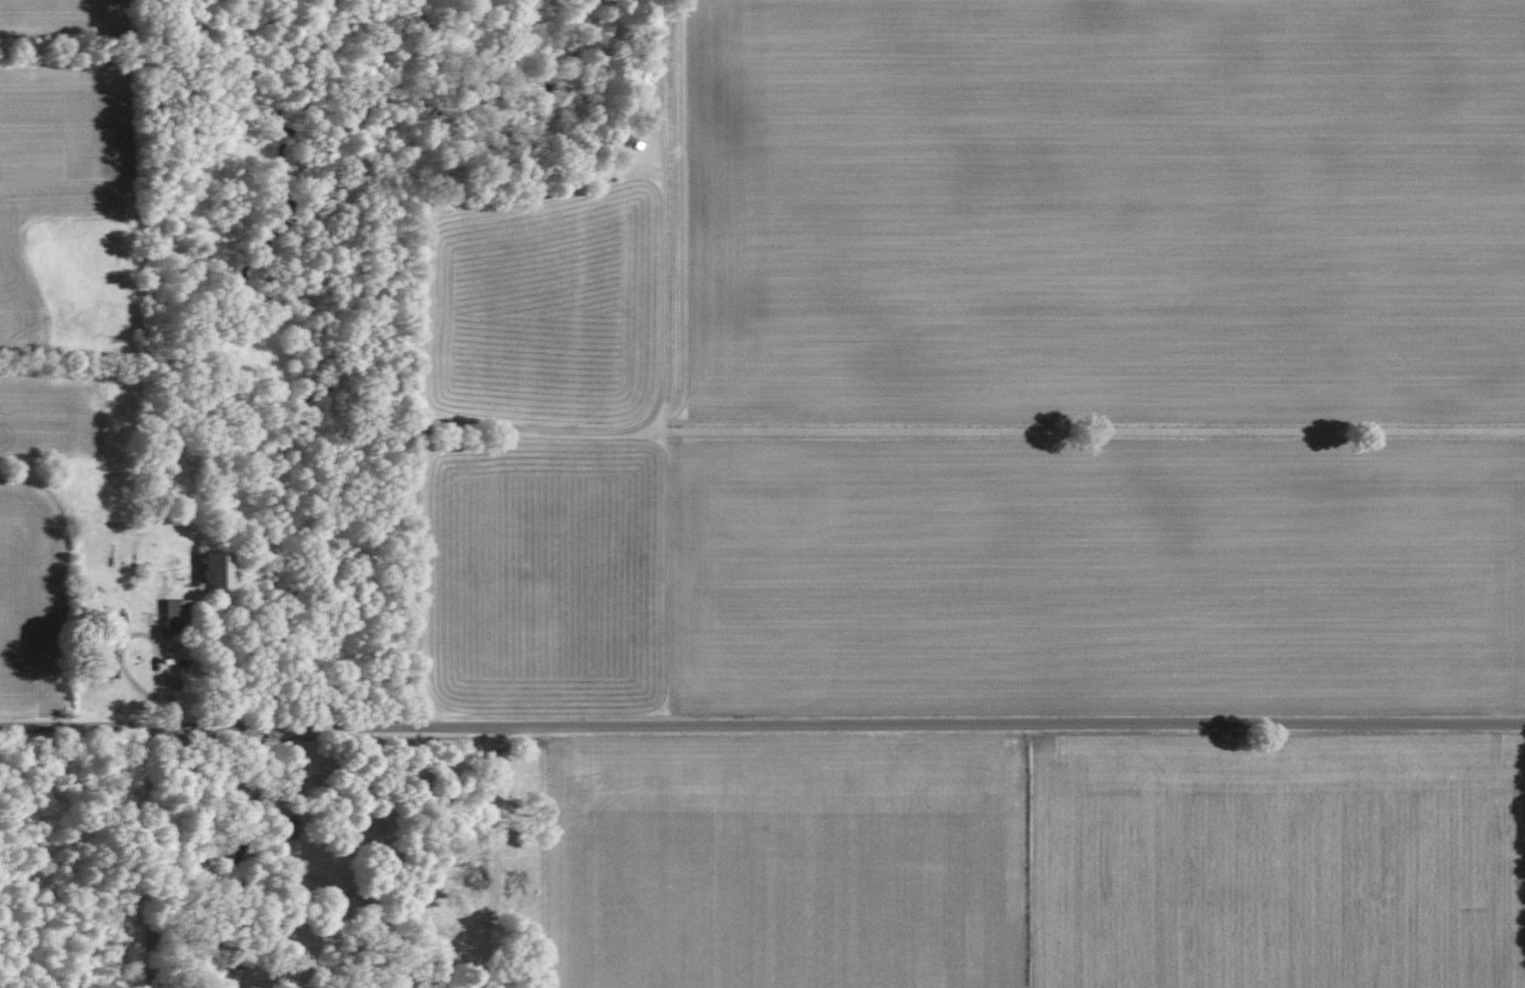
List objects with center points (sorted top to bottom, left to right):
road: (596, 430)
building: (210, 571)
building: (172, 614)
building: (98, 663)
road: (762, 725)

